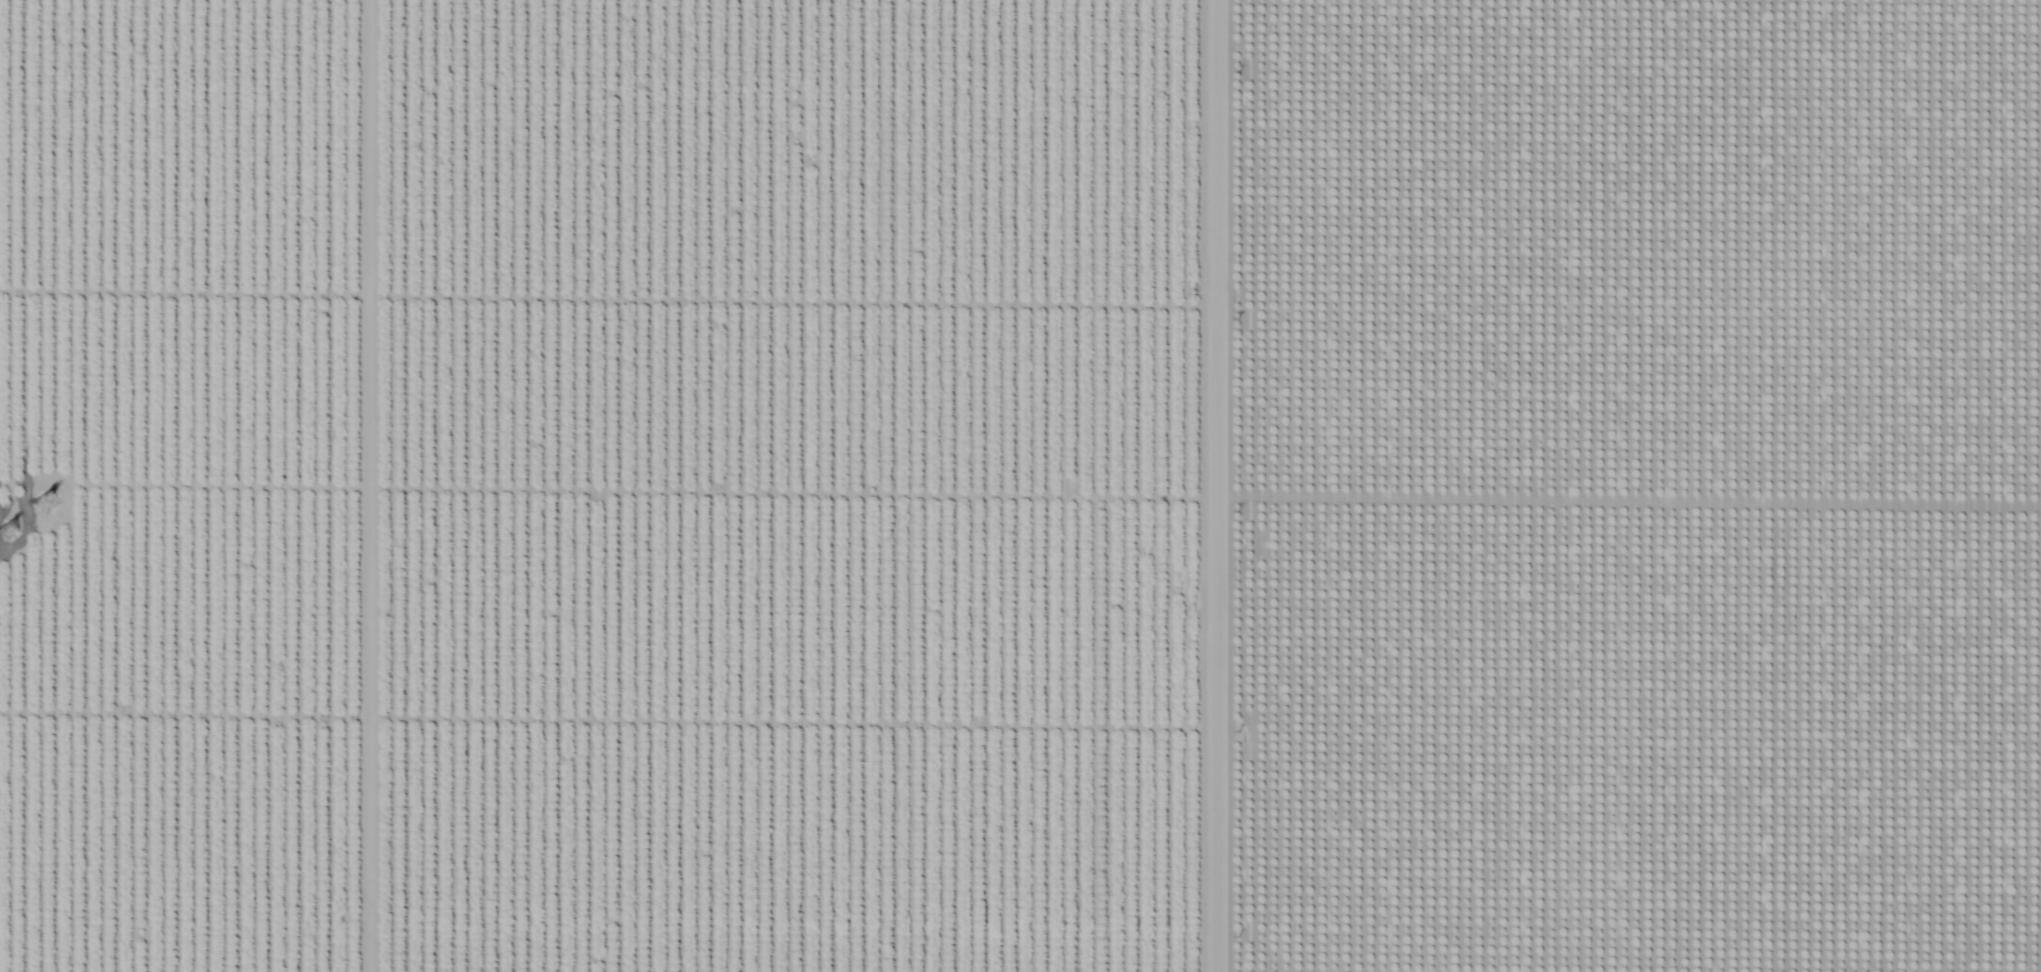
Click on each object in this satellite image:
road: (1240, 486)
power tower: (52, 498)
power tower: (15, 523)

